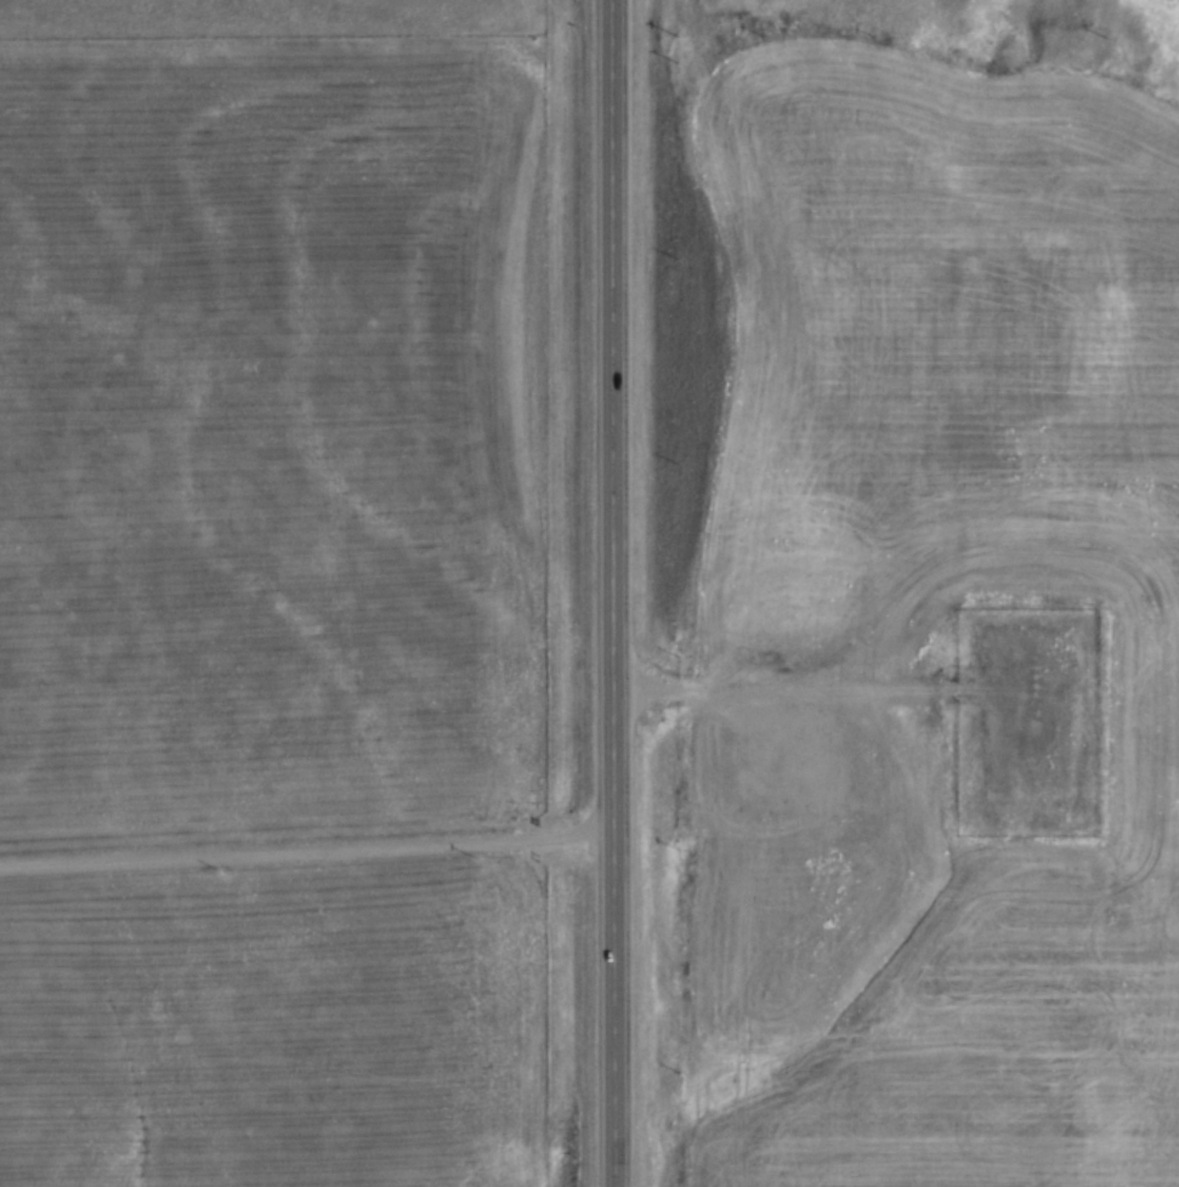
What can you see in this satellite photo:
road: (607, 592)
road: (793, 694)
road: (304, 845)

